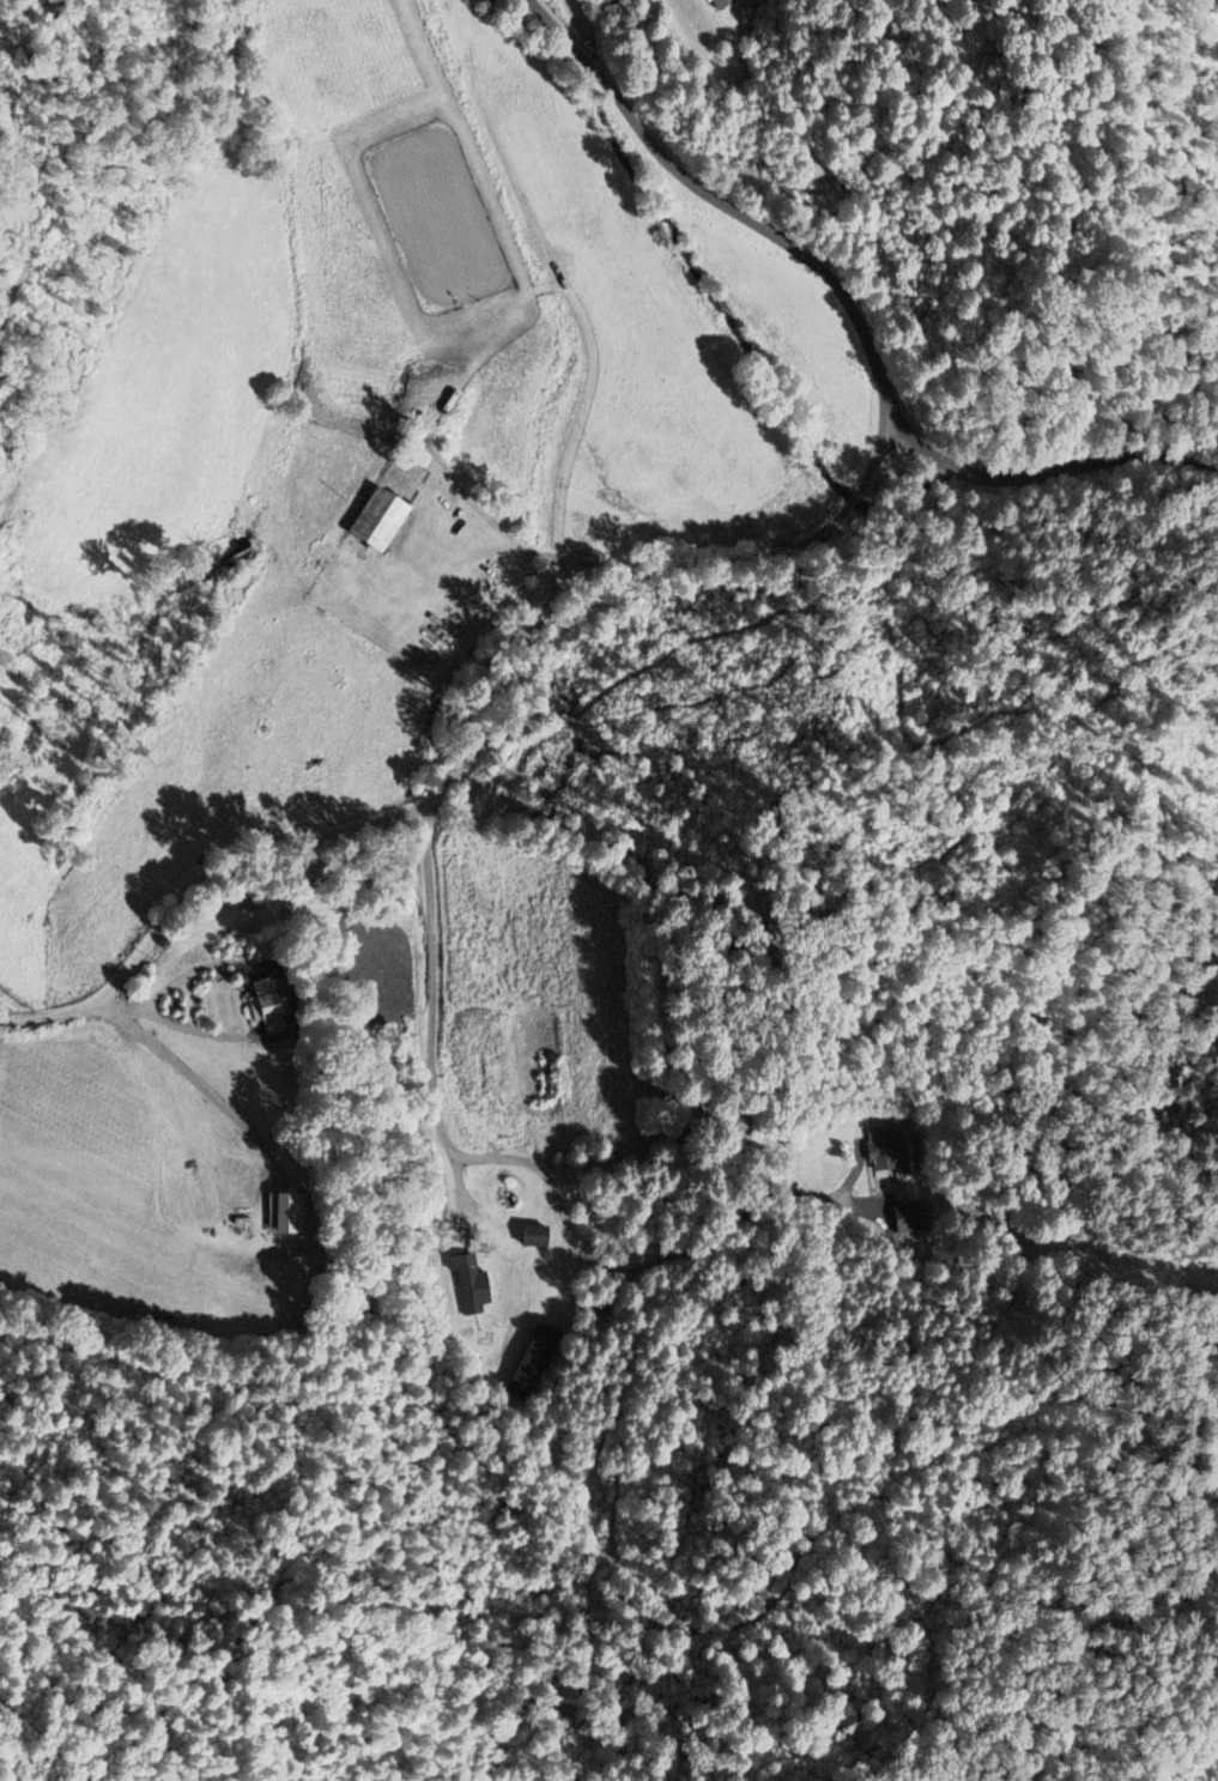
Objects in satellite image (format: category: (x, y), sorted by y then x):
road: (586, 29)
road: (726, 206)
road: (878, 456)
road: (1048, 473)
road: (853, 498)
road: (441, 787)
road: (493, 1159)

